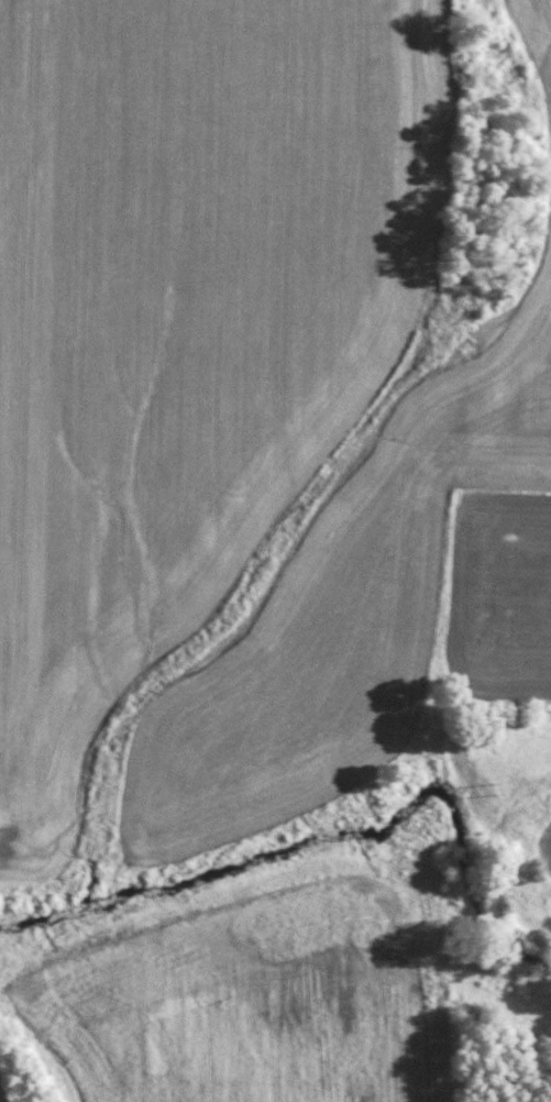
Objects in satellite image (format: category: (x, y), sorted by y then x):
power tower: (496, 790)

